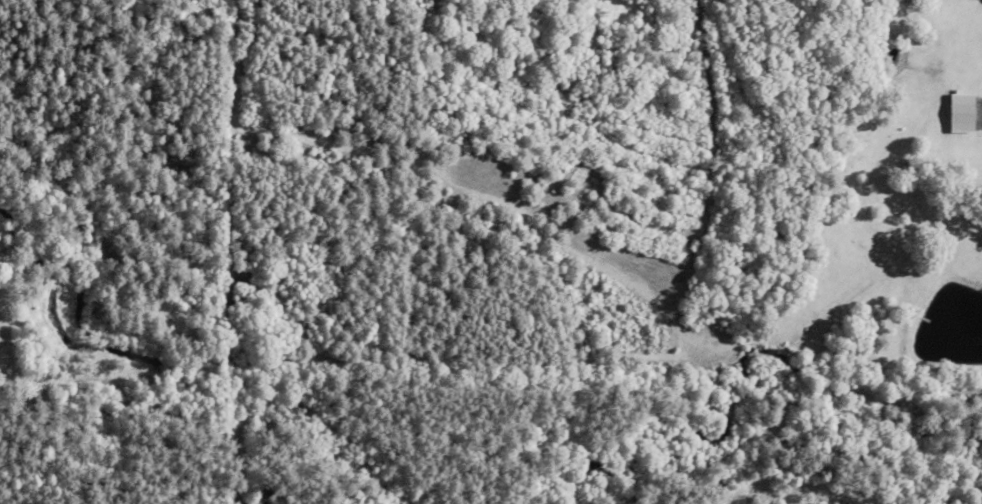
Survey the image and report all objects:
building: (962, 112)

